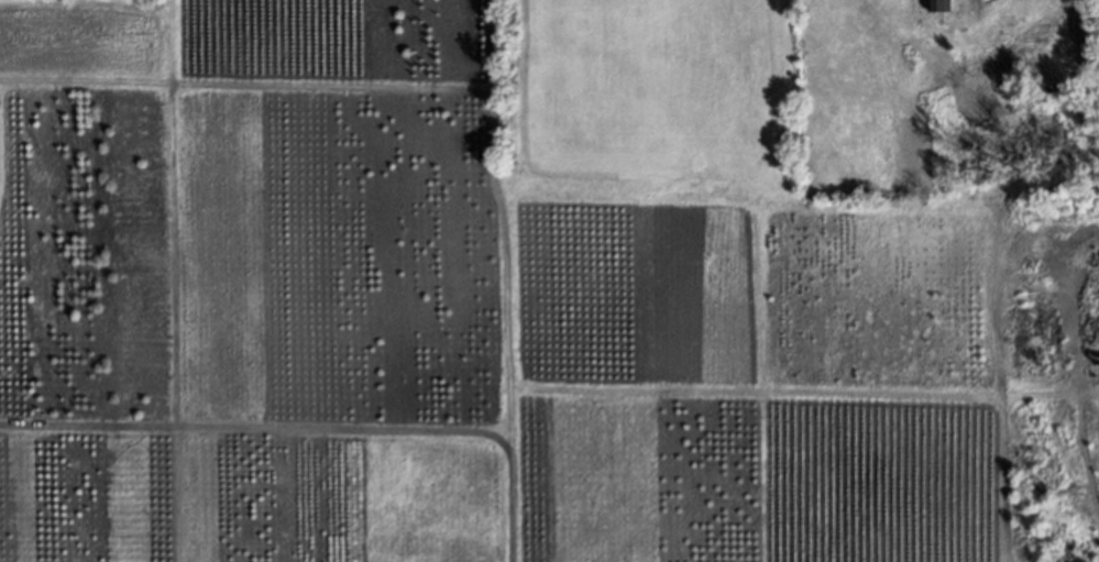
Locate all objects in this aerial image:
building: (938, 3)

